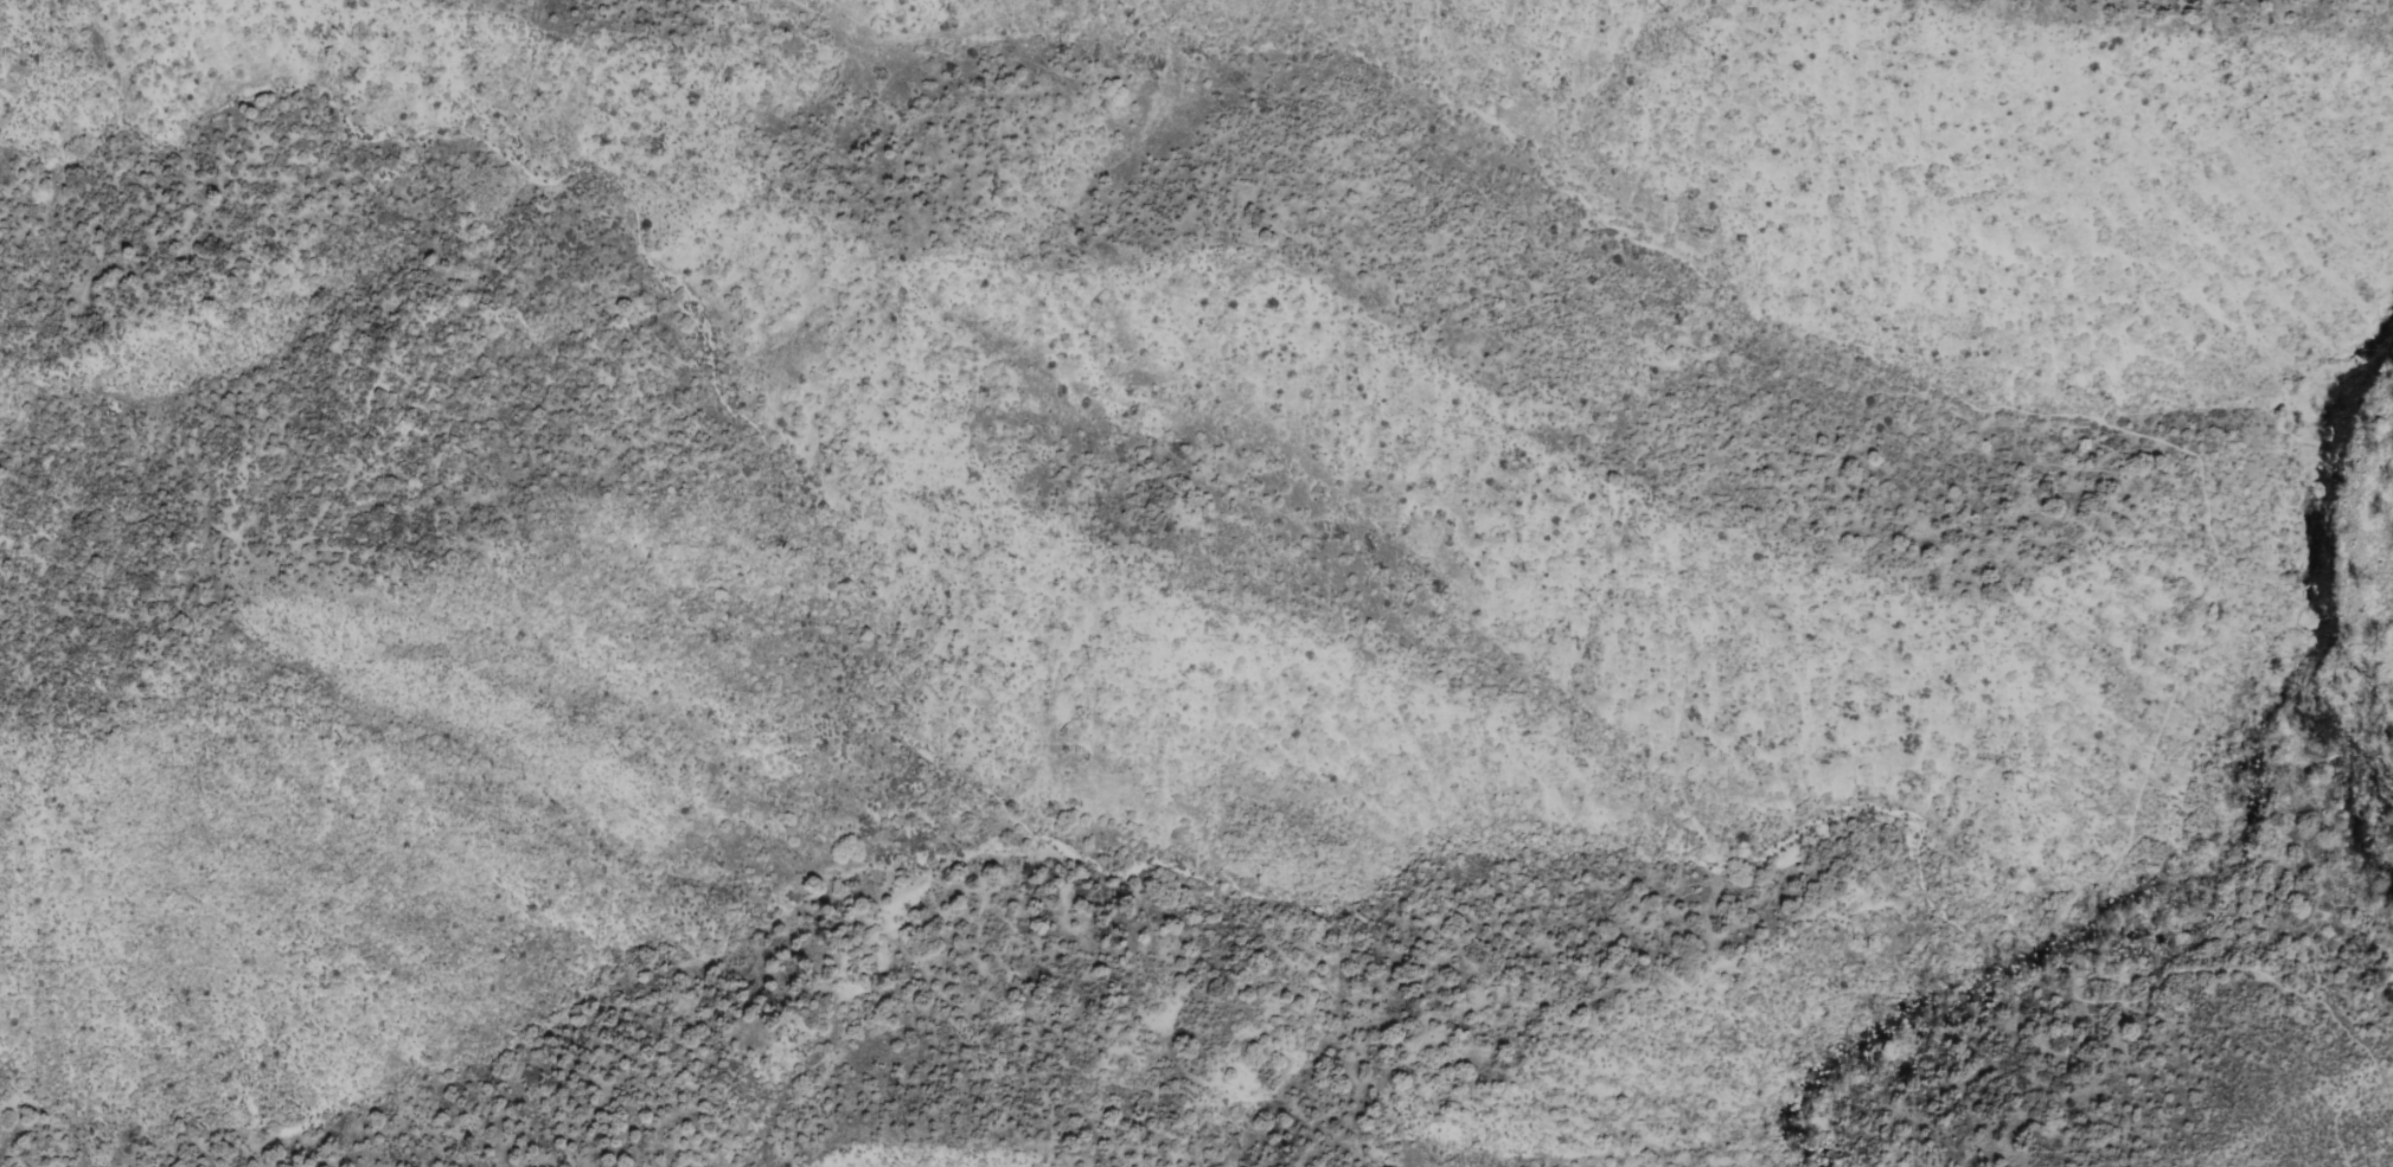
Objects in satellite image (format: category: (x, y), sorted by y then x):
road: (2158, 725)

